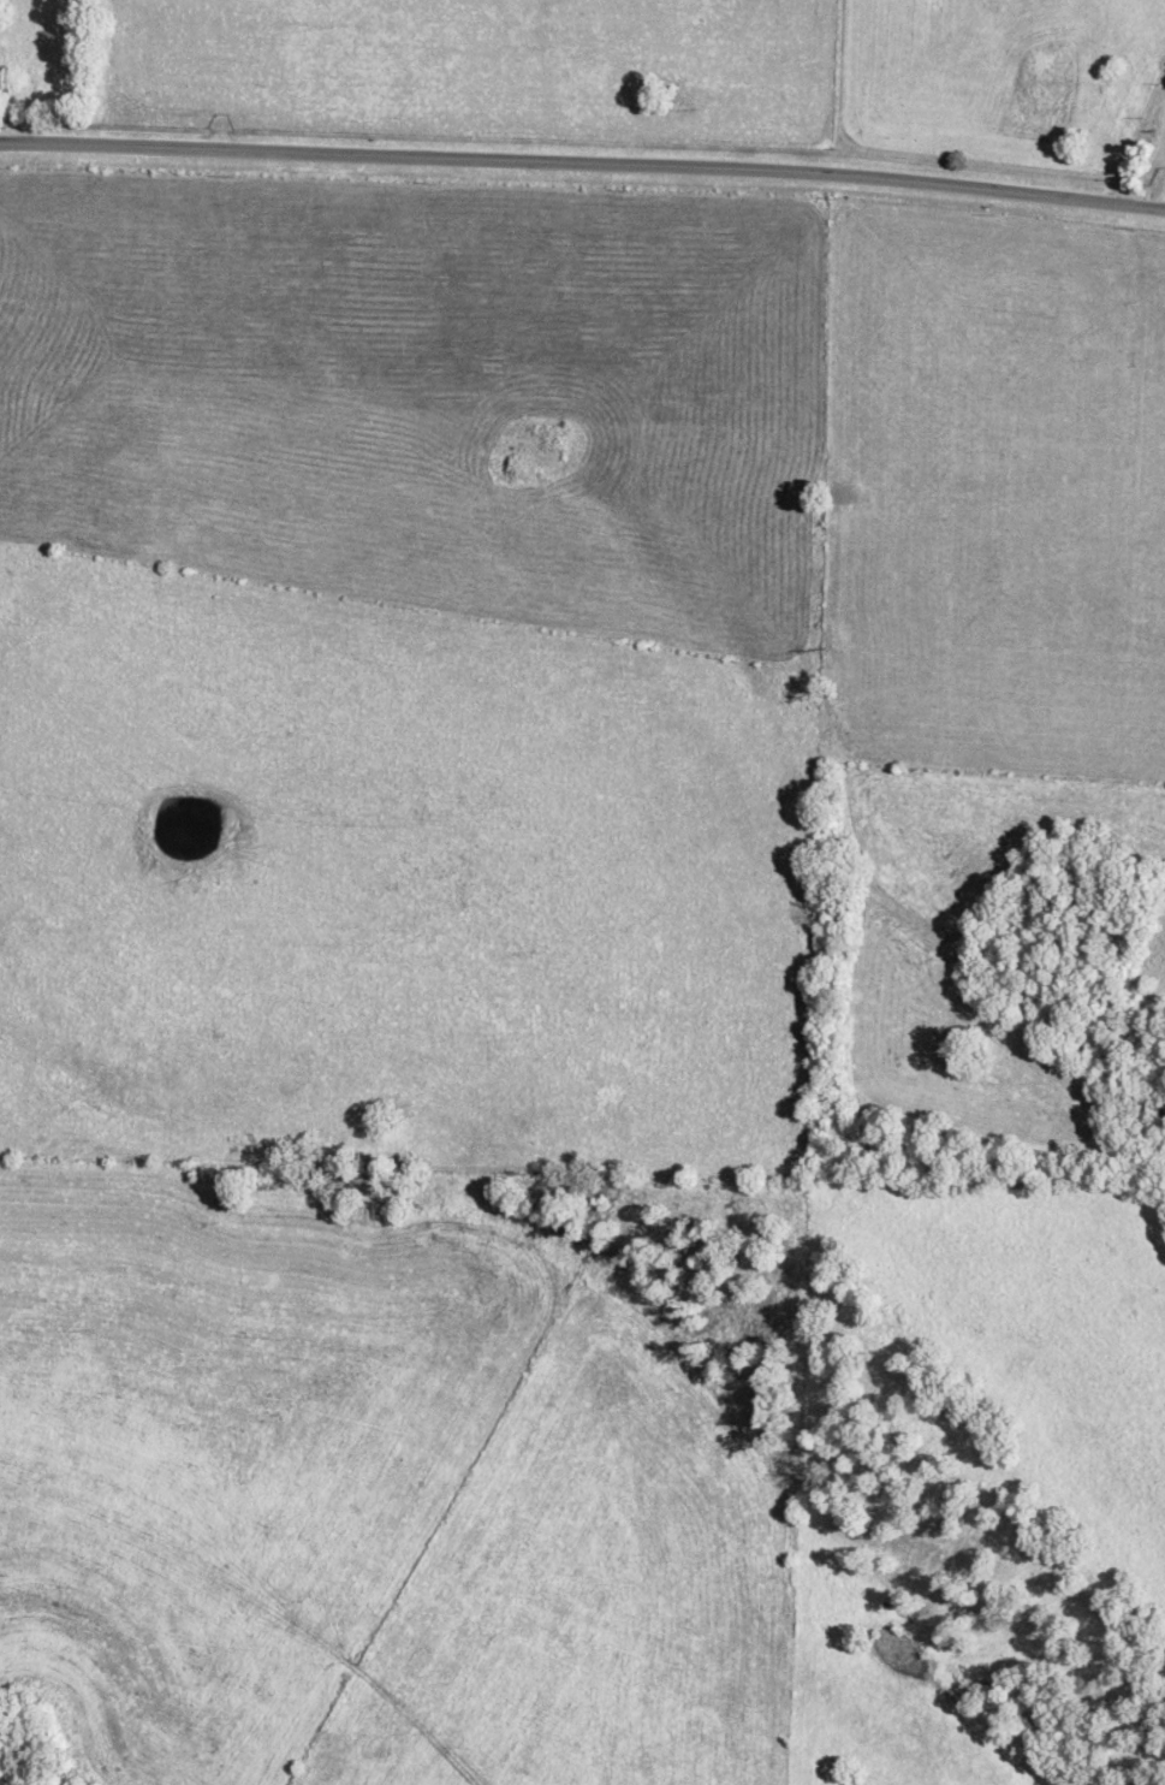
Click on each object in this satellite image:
road: (583, 170)
road: (1164, 200)
road: (1153, 1193)

